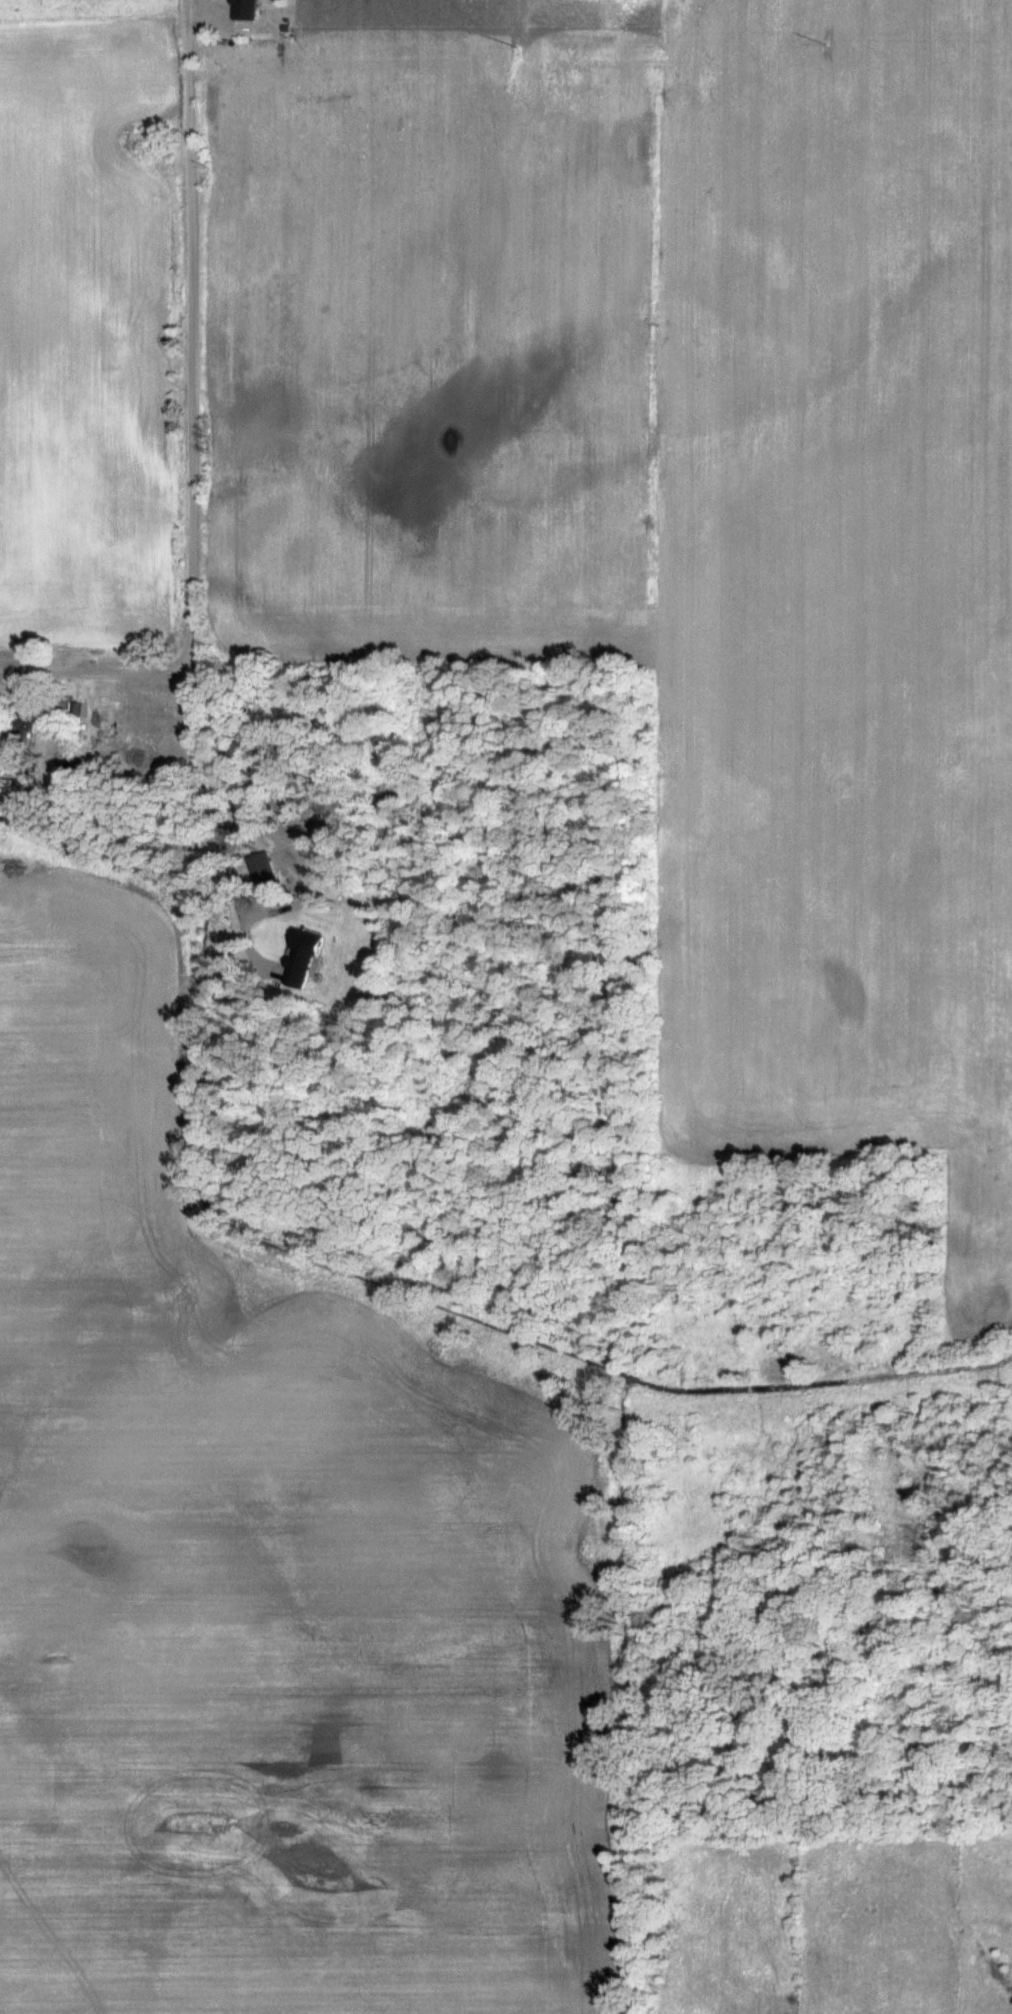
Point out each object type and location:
building: (248, 10)
power tower: (826, 43)
power tower: (521, 46)
road: (189, 334)
building: (34, 721)
building: (305, 958)

